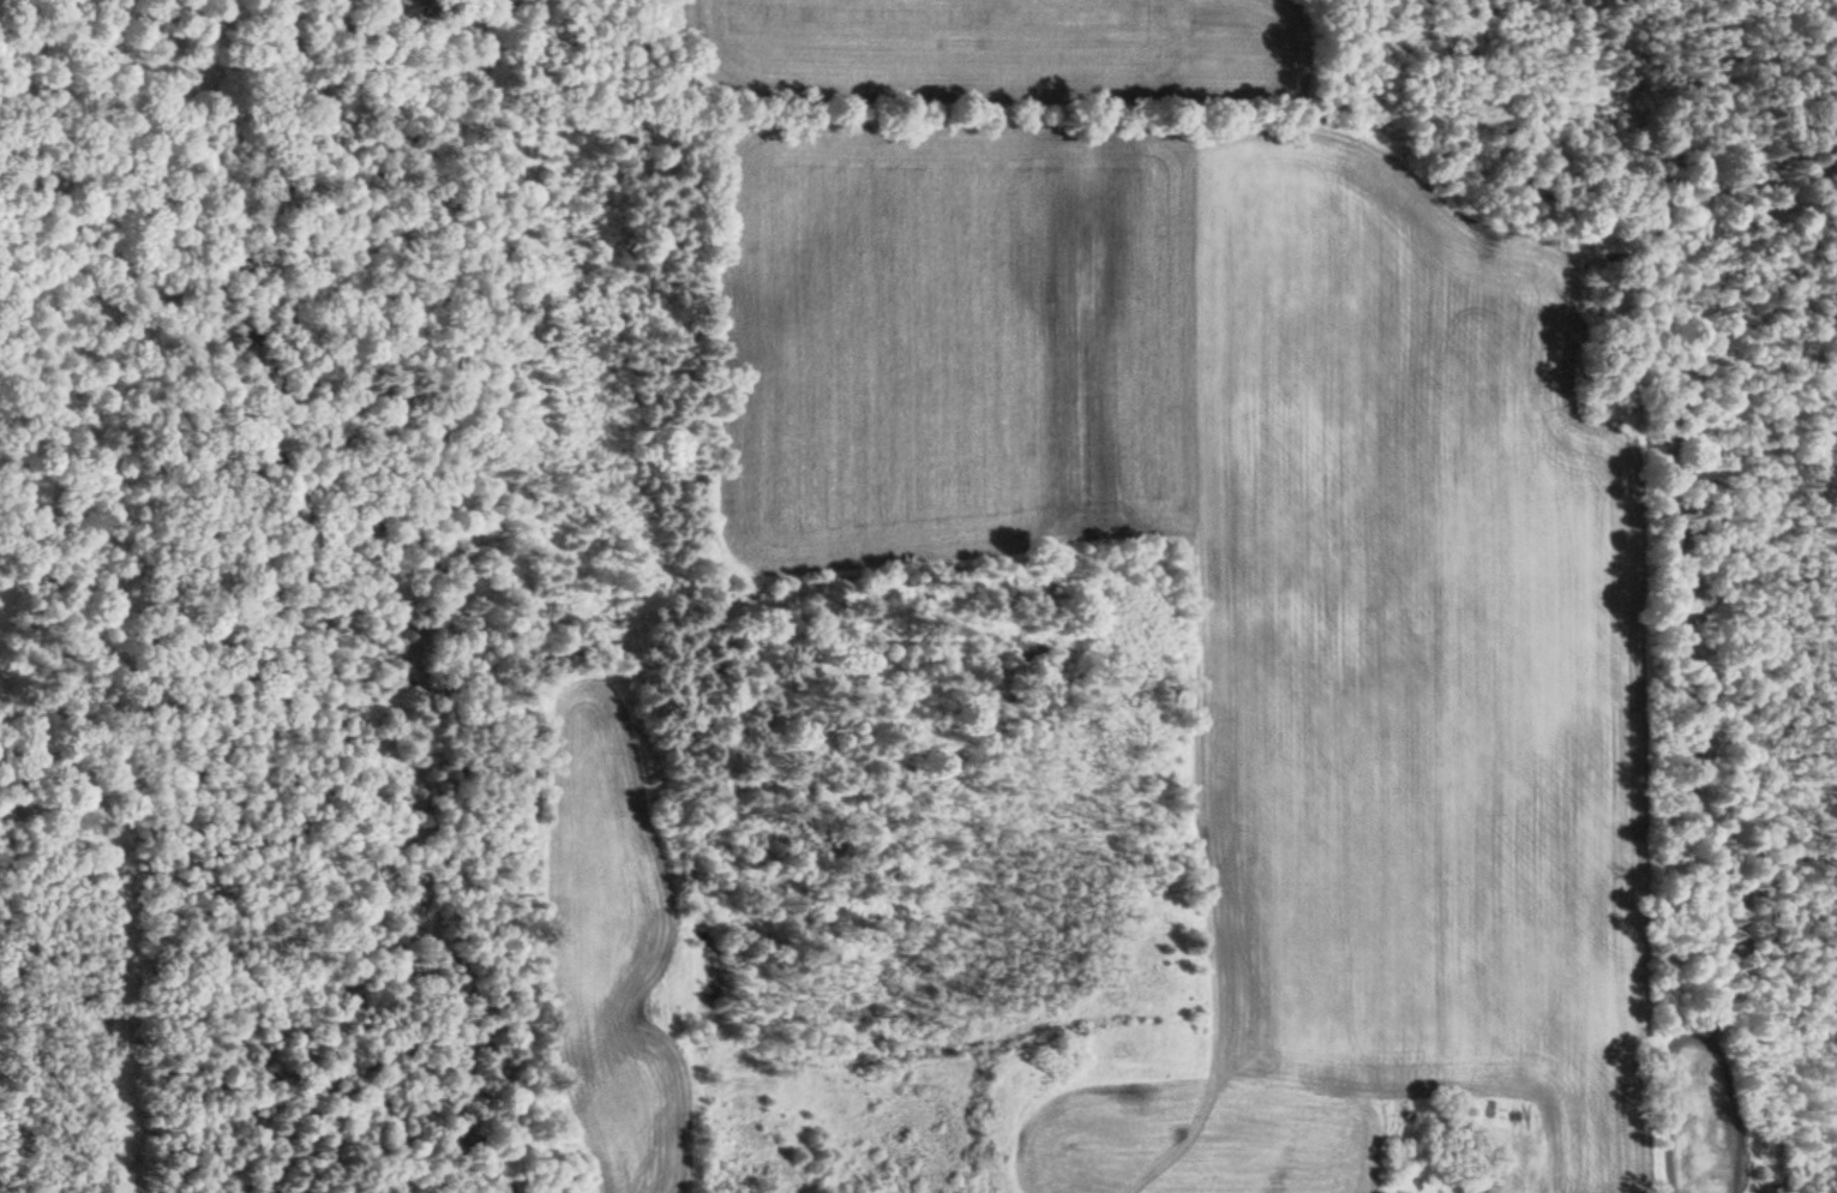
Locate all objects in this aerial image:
building: (491, 1167)

